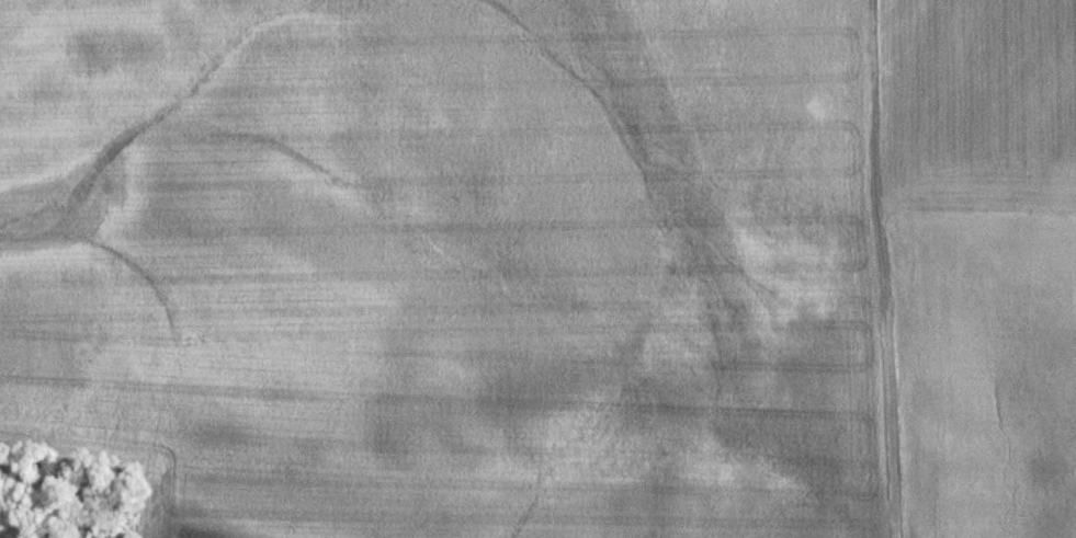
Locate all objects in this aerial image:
crop: (448, 264)
crop: (978, 377)

